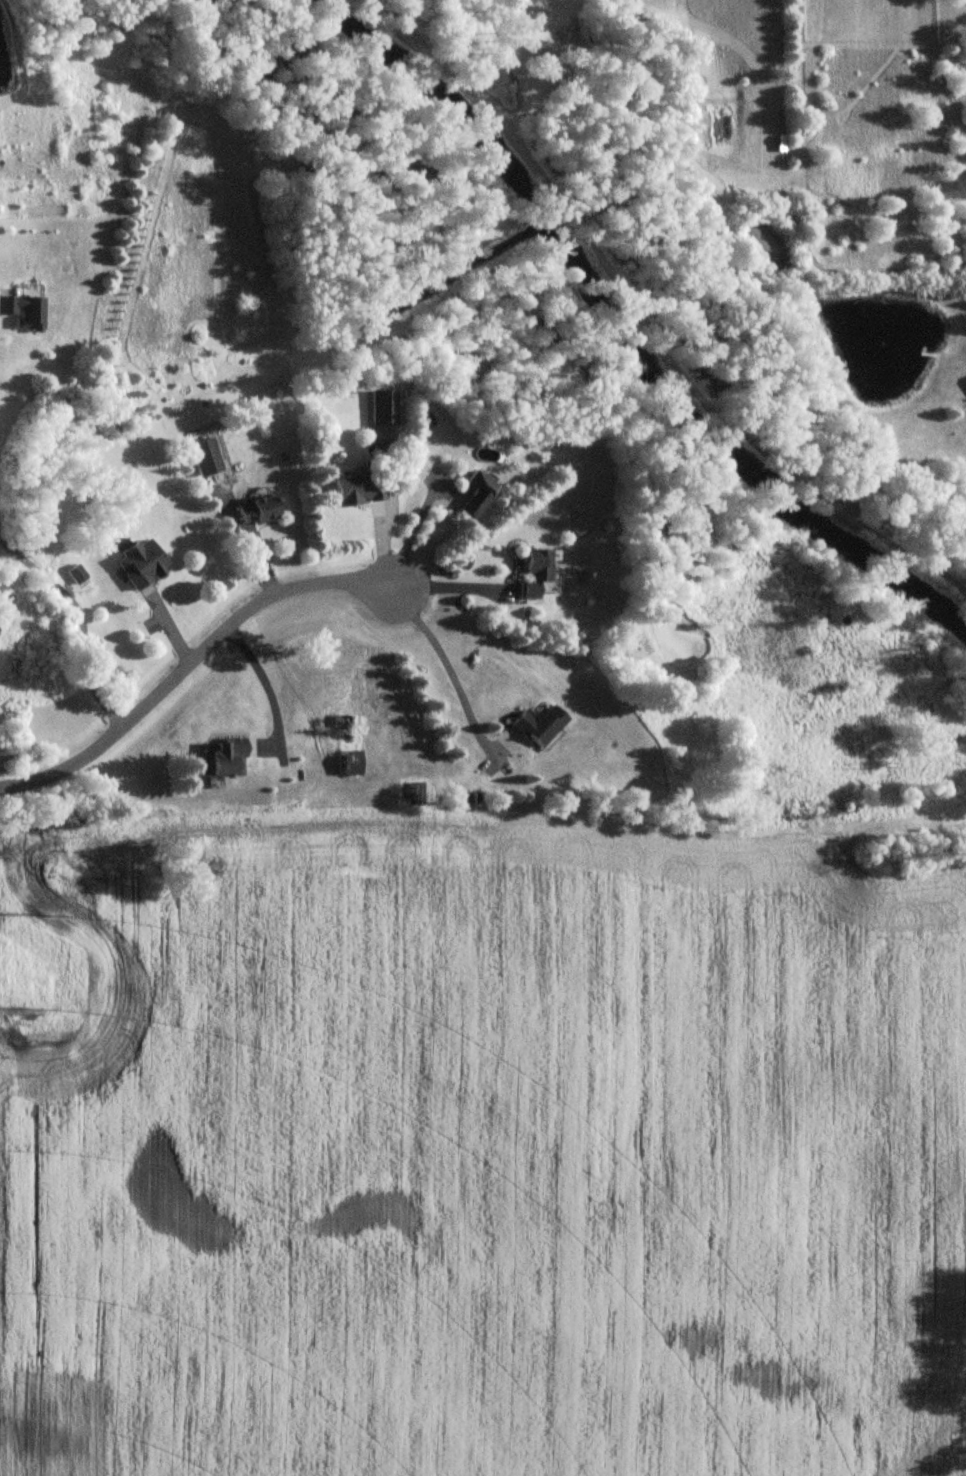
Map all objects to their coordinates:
building: (22, 310)
building: (382, 407)
building: (204, 455)
building: (355, 490)
building: (474, 493)
building: (255, 510)
road: (390, 511)
road: (410, 529)
building: (139, 563)
building: (534, 573)
road: (455, 584)
road: (78, 620)
road: (189, 656)
road: (449, 672)
road: (263, 679)
building: (538, 723)
building: (505, 738)
building: (220, 757)
building: (348, 767)

